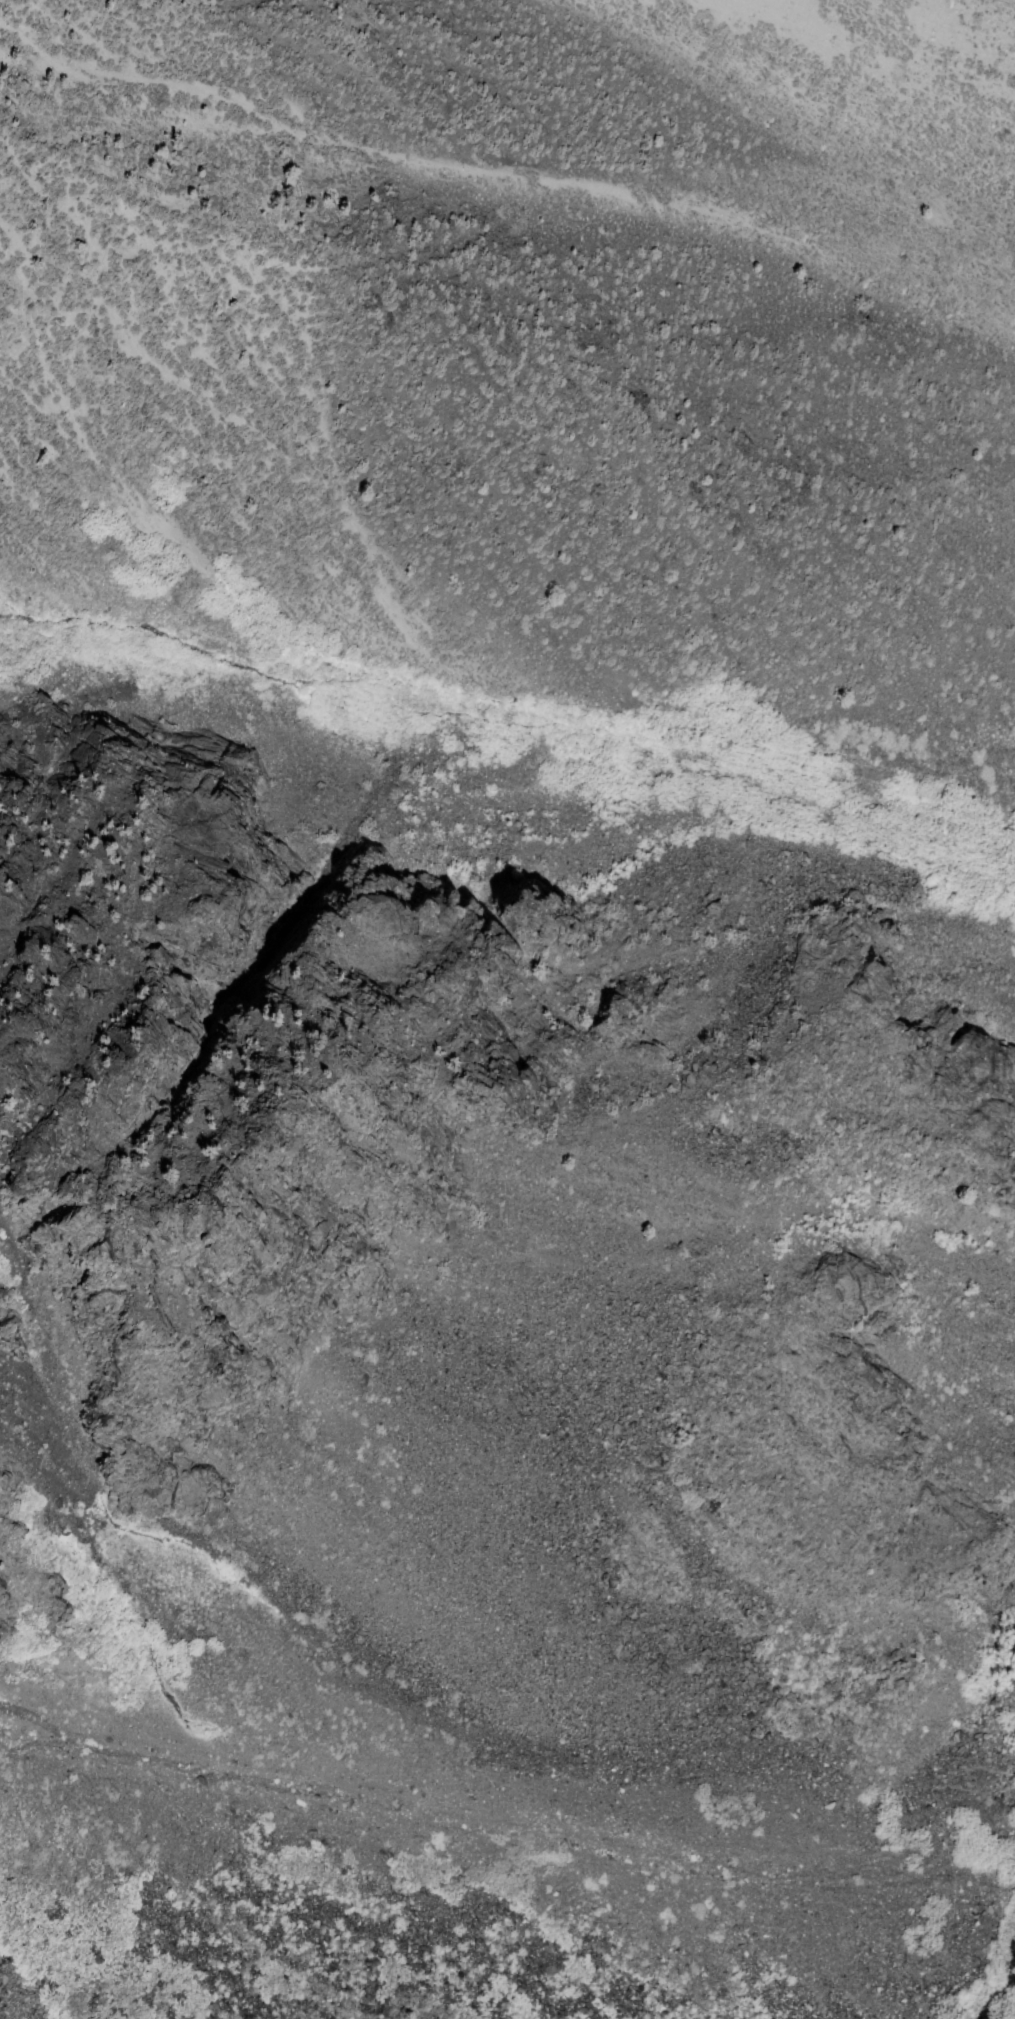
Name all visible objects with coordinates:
road: (946, 1847)

